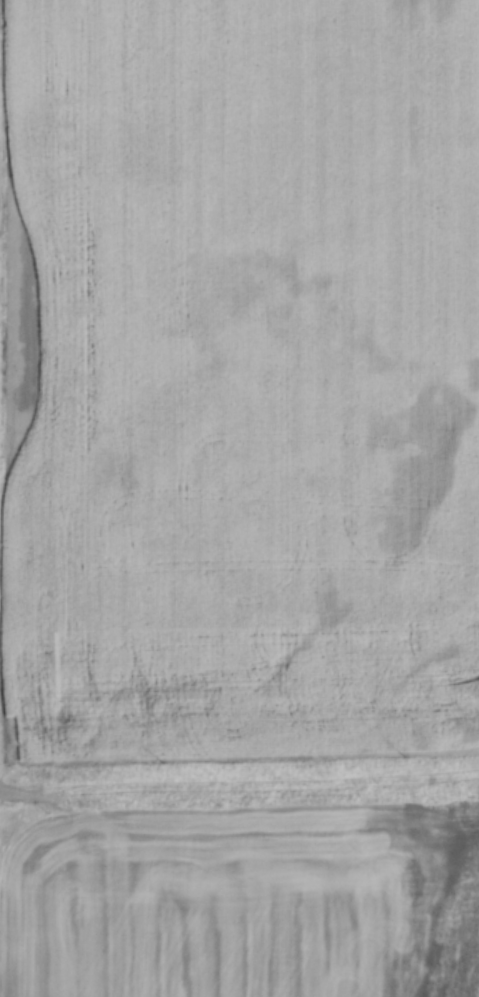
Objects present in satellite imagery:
road: (239, 773)

